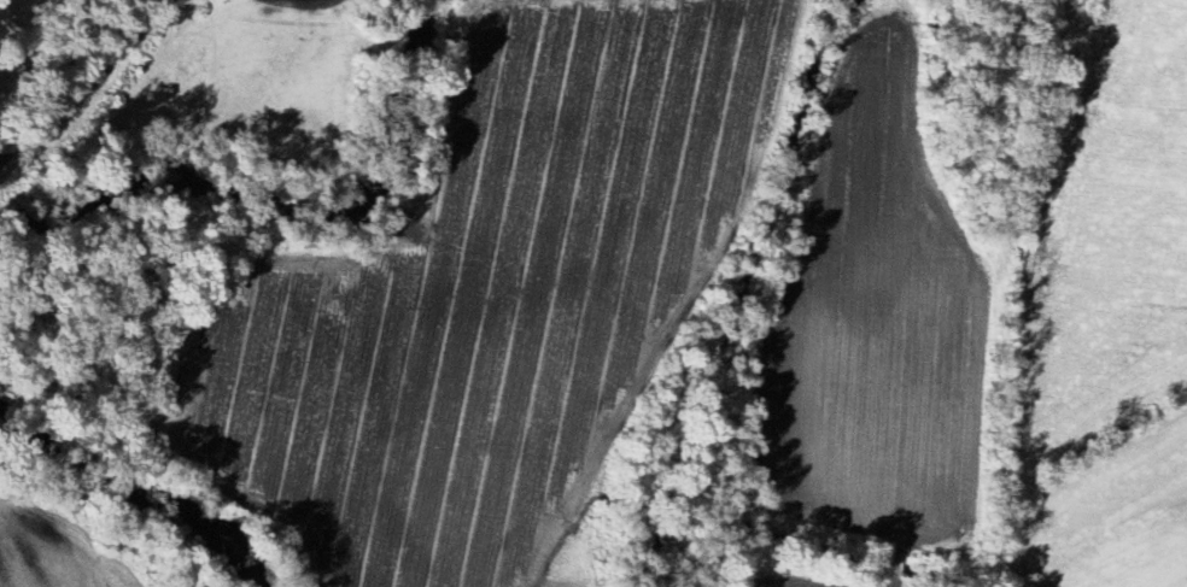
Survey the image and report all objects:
road: (83, 75)
river: (277, 215)
river: (130, 511)

